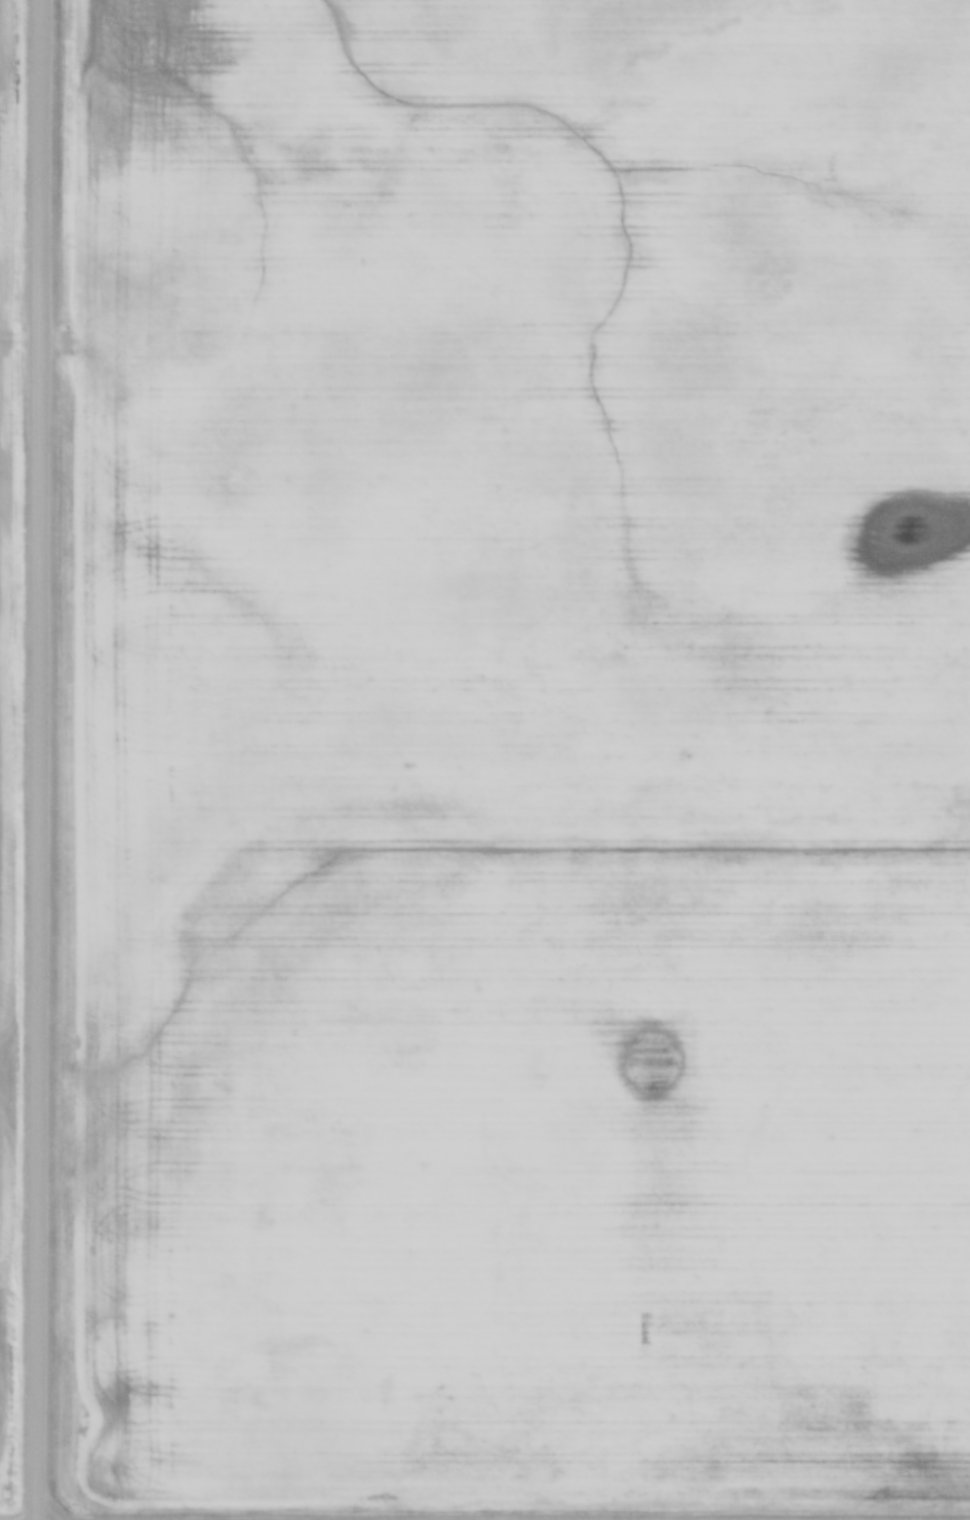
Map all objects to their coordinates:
road: (40, 760)

